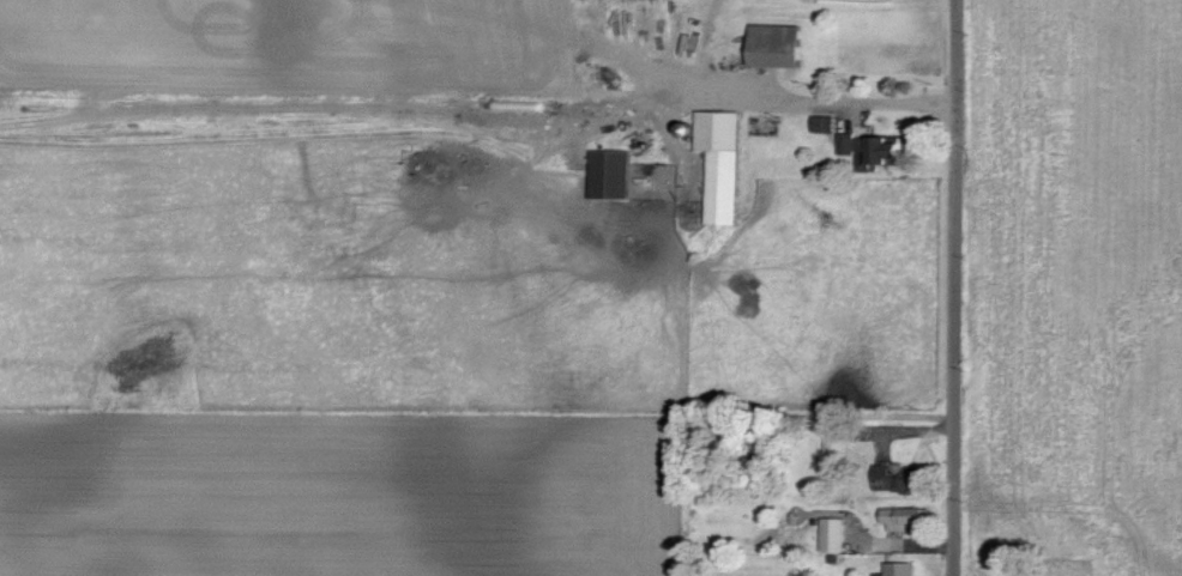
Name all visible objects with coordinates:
building: (783, 44)
road: (903, 69)
building: (830, 123)
building: (876, 148)
building: (724, 160)
building: (615, 174)
road: (957, 287)
road: (863, 412)
building: (840, 438)
building: (903, 479)
building: (911, 519)
building: (838, 534)
building: (901, 569)

